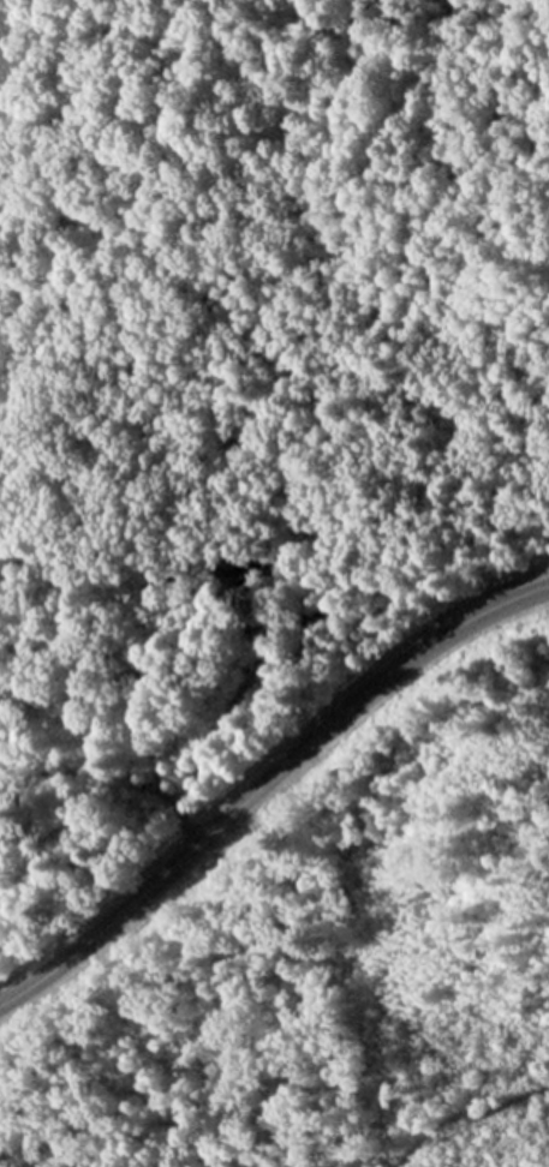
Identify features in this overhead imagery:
road: (263, 778)

